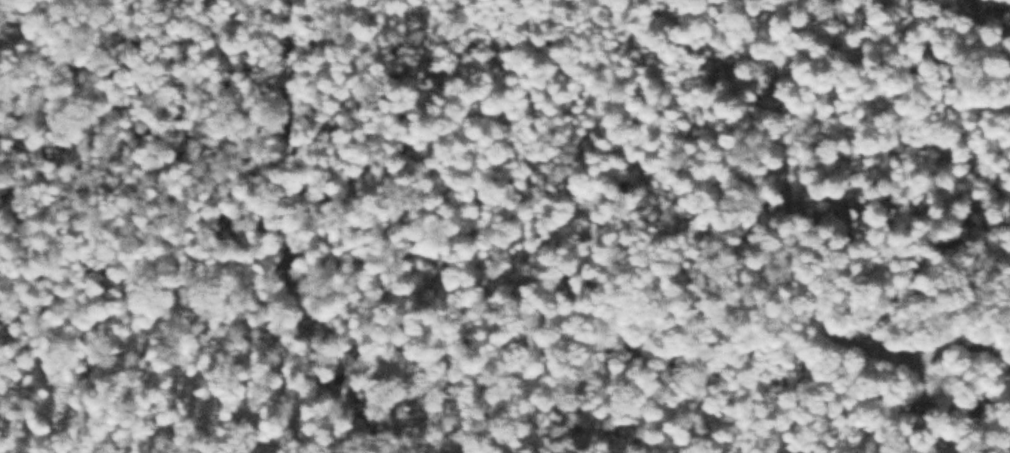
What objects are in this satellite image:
road: (85, 242)
road: (495, 339)

